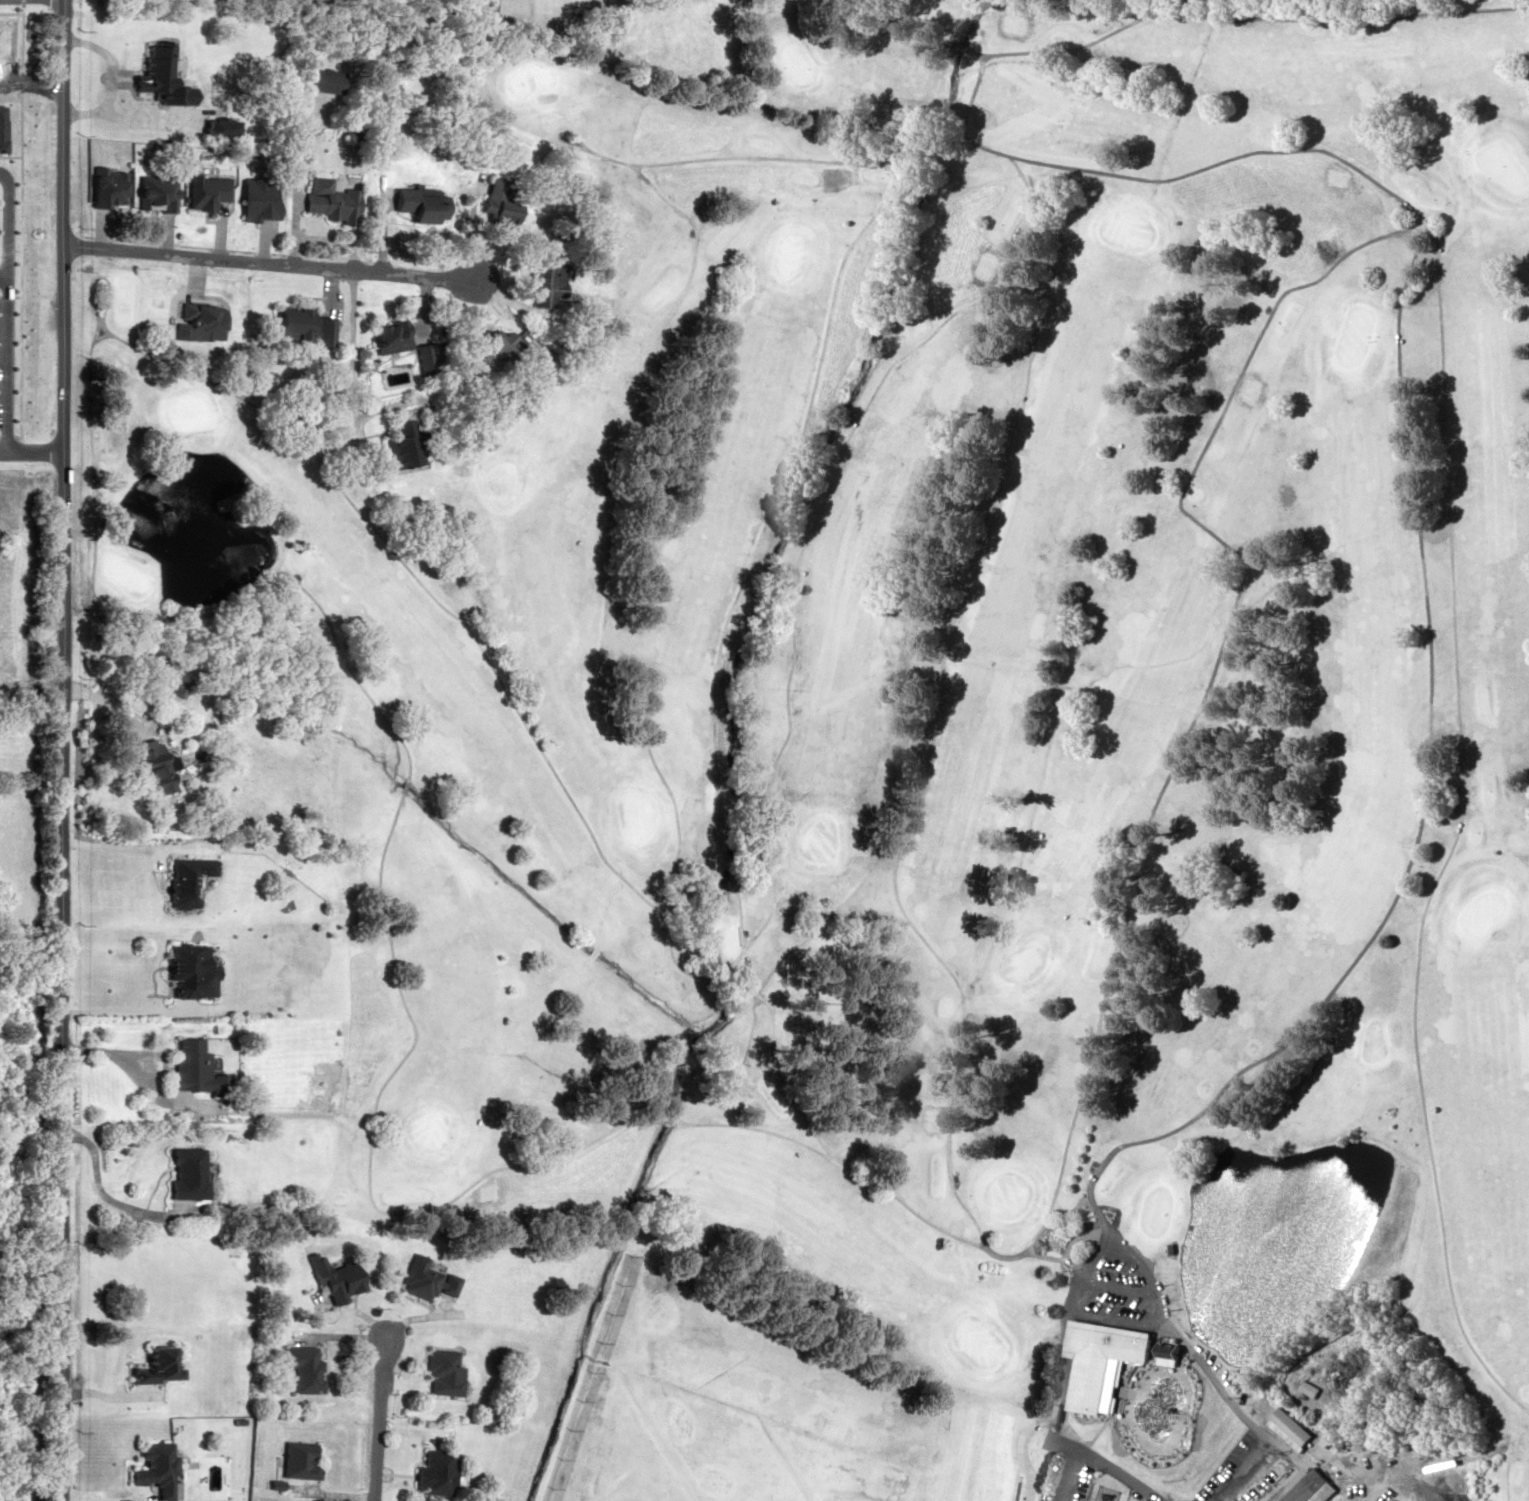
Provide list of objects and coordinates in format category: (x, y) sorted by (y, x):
building: (223, 47)
building: (322, 79)
building: (493, 194)
building: (325, 199)
building: (405, 203)
road: (266, 265)
building: (535, 281)
building: (201, 318)
building: (299, 325)
building: (385, 335)
building: (485, 338)
building: (17, 406)
building: (402, 440)
building: (170, 675)
park: (941, 740)
road: (64, 750)
building: (149, 765)
building: (182, 879)
building: (184, 968)
building: (190, 1070)
building: (182, 1173)
building: (426, 1278)
building: (337, 1281)
building: (1098, 1359)
building: (301, 1368)
building: (441, 1372)
road: (375, 1421)
building: (1287, 1427)
road: (1047, 1436)
building: (1109, 1437)
building: (1208, 1449)
building: (1395, 1449)
building: (297, 1459)
building: (150, 1468)
building: (431, 1471)
building: (1309, 1488)
building: (1391, 1500)

